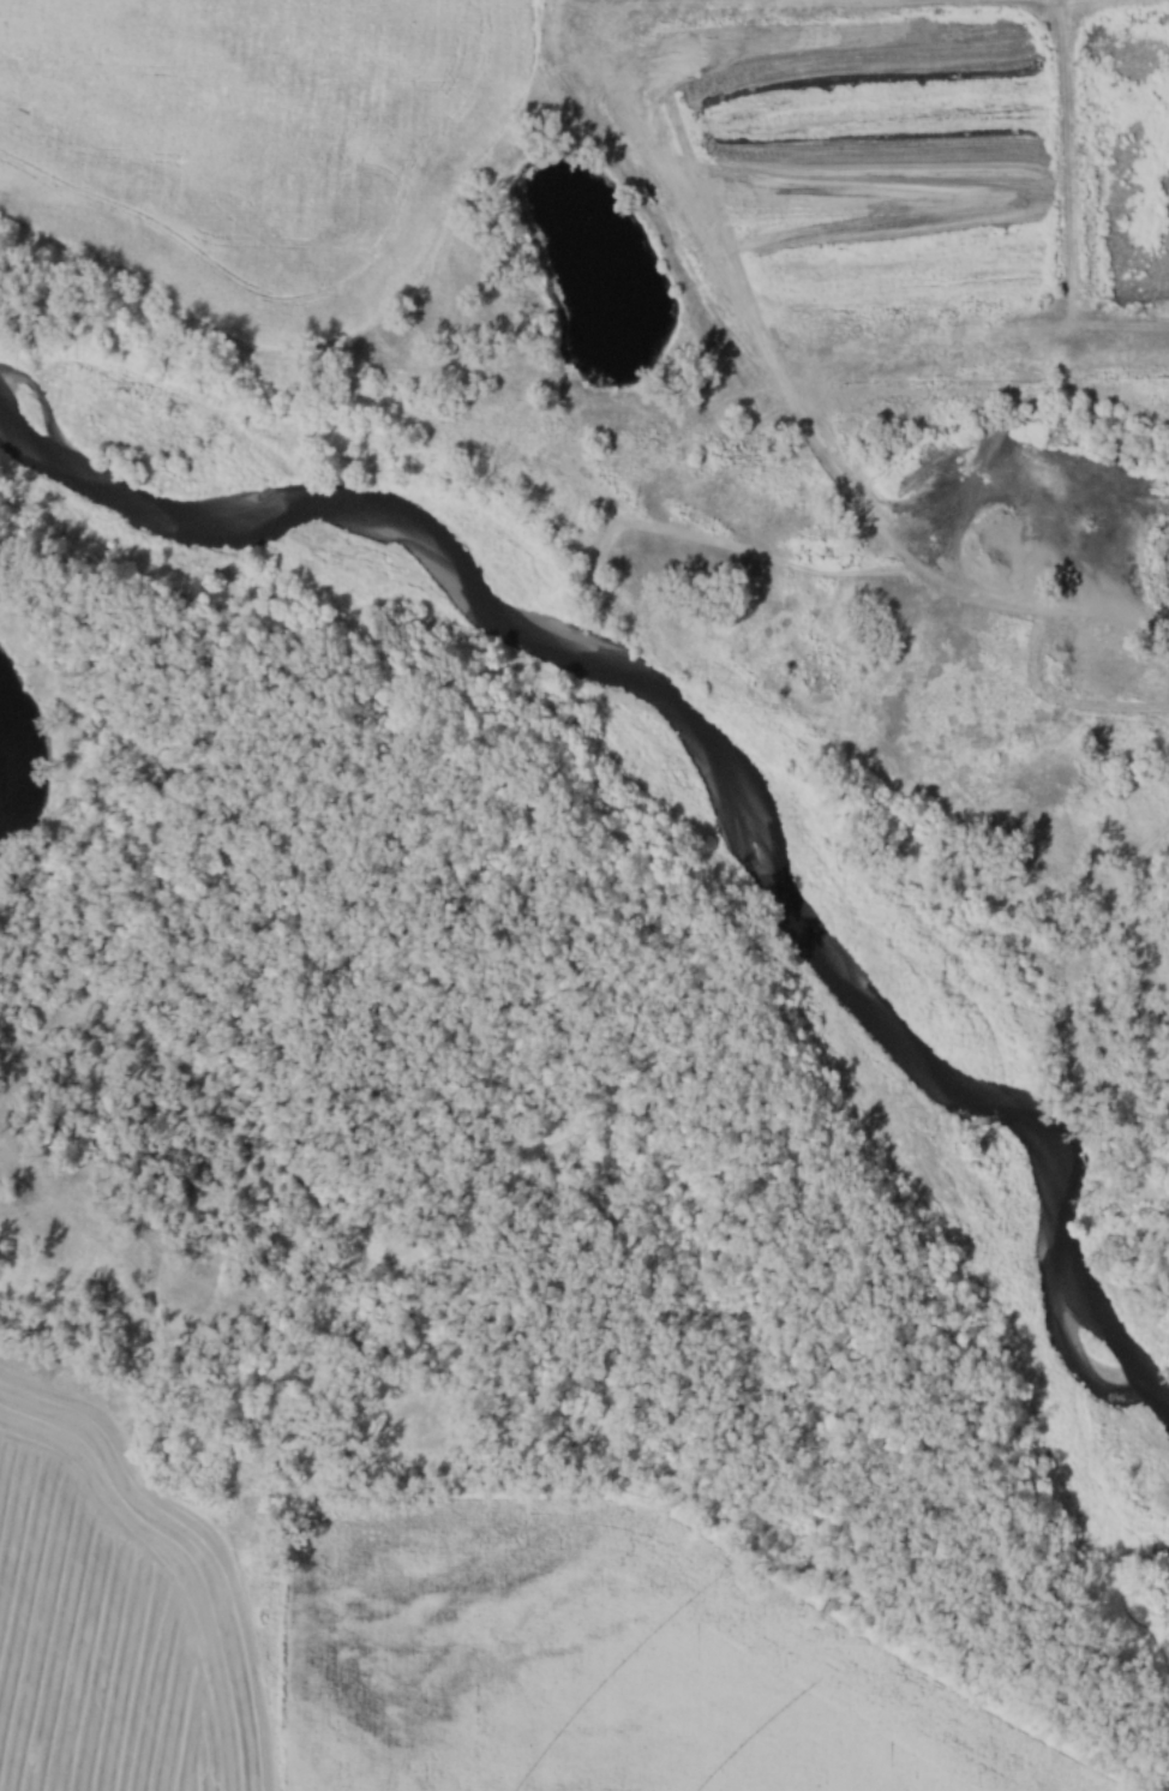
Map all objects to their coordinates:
river: (707, 757)

